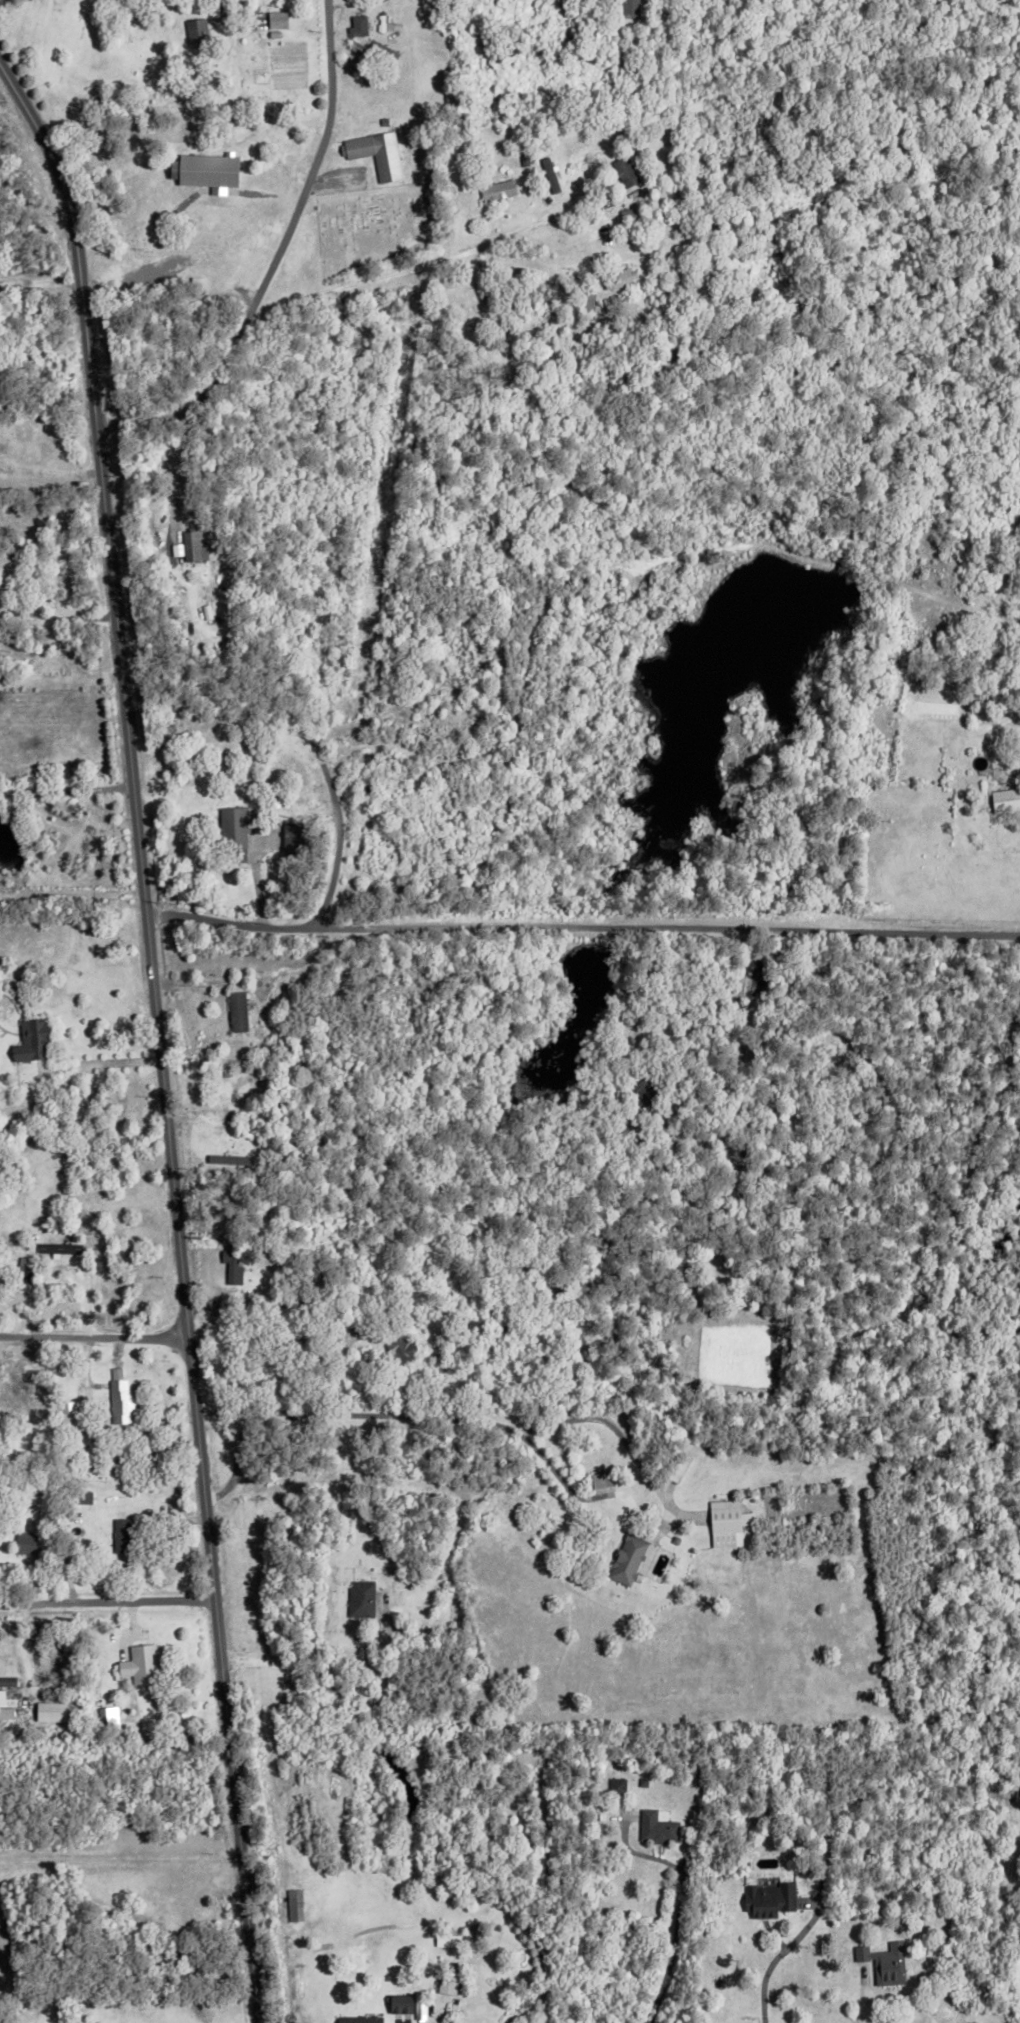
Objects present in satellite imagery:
building: (626, 7)
building: (276, 18)
building: (358, 22)
building: (593, 26)
building: (196, 31)
building: (280, 31)
building: (375, 52)
building: (382, 120)
building: (378, 153)
building: (208, 170)
building: (624, 170)
building: (548, 171)
building: (494, 188)
building: (759, 235)
road: (459, 252)
road: (277, 260)
building: (617, 277)
building: (196, 281)
road: (41, 288)
road: (178, 468)
road: (51, 477)
building: (935, 523)
building: (193, 544)
building: (475, 607)
road: (57, 617)
building: (443, 654)
building: (498, 709)
road: (334, 730)
building: (422, 736)
building: (304, 738)
building: (364, 757)
building: (373, 772)
road: (66, 788)
building: (365, 792)
building: (1003, 800)
building: (233, 827)
building: (300, 840)
building: (366, 850)
road: (336, 854)
road: (256, 883)
building: (398, 888)
road: (74, 891)
building: (350, 902)
road: (583, 929)
building: (235, 1006)
building: (30, 1034)
road: (158, 1035)
road: (105, 1061)
building: (648, 1089)
building: (233, 1157)
building: (63, 1248)
building: (230, 1262)
building: (22, 1267)
building: (278, 1285)
road: (83, 1307)
road: (95, 1340)
building: (399, 1343)
building: (22, 1372)
building: (119, 1398)
building: (76, 1408)
road: (569, 1417)
building: (64, 1427)
road: (237, 1464)
building: (65, 1475)
building: (600, 1476)
building: (723, 1519)
building: (121, 1531)
building: (673, 1537)
building: (24, 1540)
building: (626, 1556)
building: (359, 1596)
road: (108, 1604)
building: (139, 1661)
building: (10, 1682)
road: (334, 1689)
building: (9, 1703)
building: (93, 1706)
building: (112, 1721)
building: (641, 1779)
building: (615, 1783)
building: (854, 1801)
building: (811, 1807)
building: (599, 1811)
building: (655, 1826)
road: (121, 1861)
building: (317, 1891)
building: (767, 1897)
building: (293, 1902)
road: (676, 1924)
building: (451, 1941)
road: (776, 1957)
building: (882, 1960)
building: (451, 1985)
building: (1, 1991)
road: (906, 2002)
building: (451, 2006)
building: (412, 2007)
building: (358, 2018)
building: (449, 2020)

